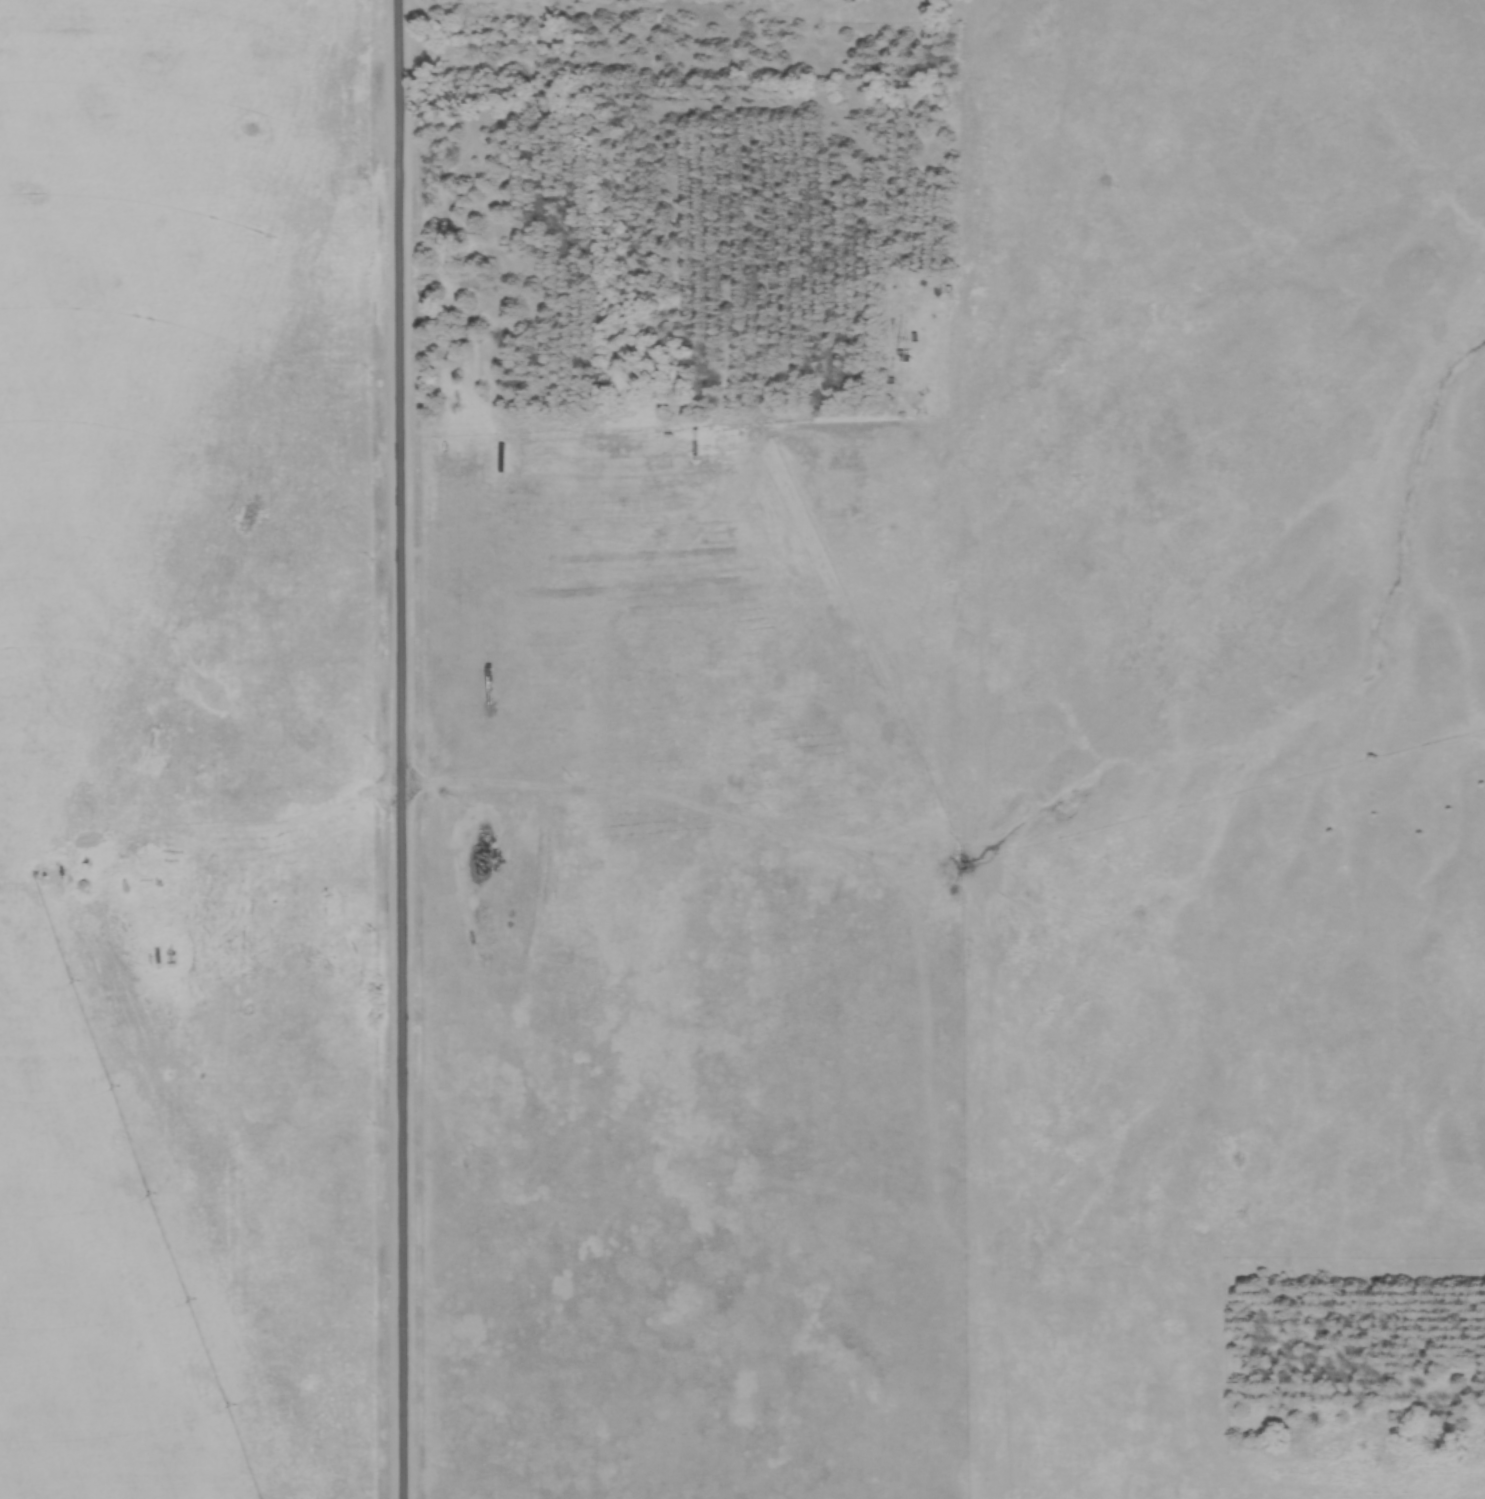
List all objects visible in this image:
road: (394, 749)

